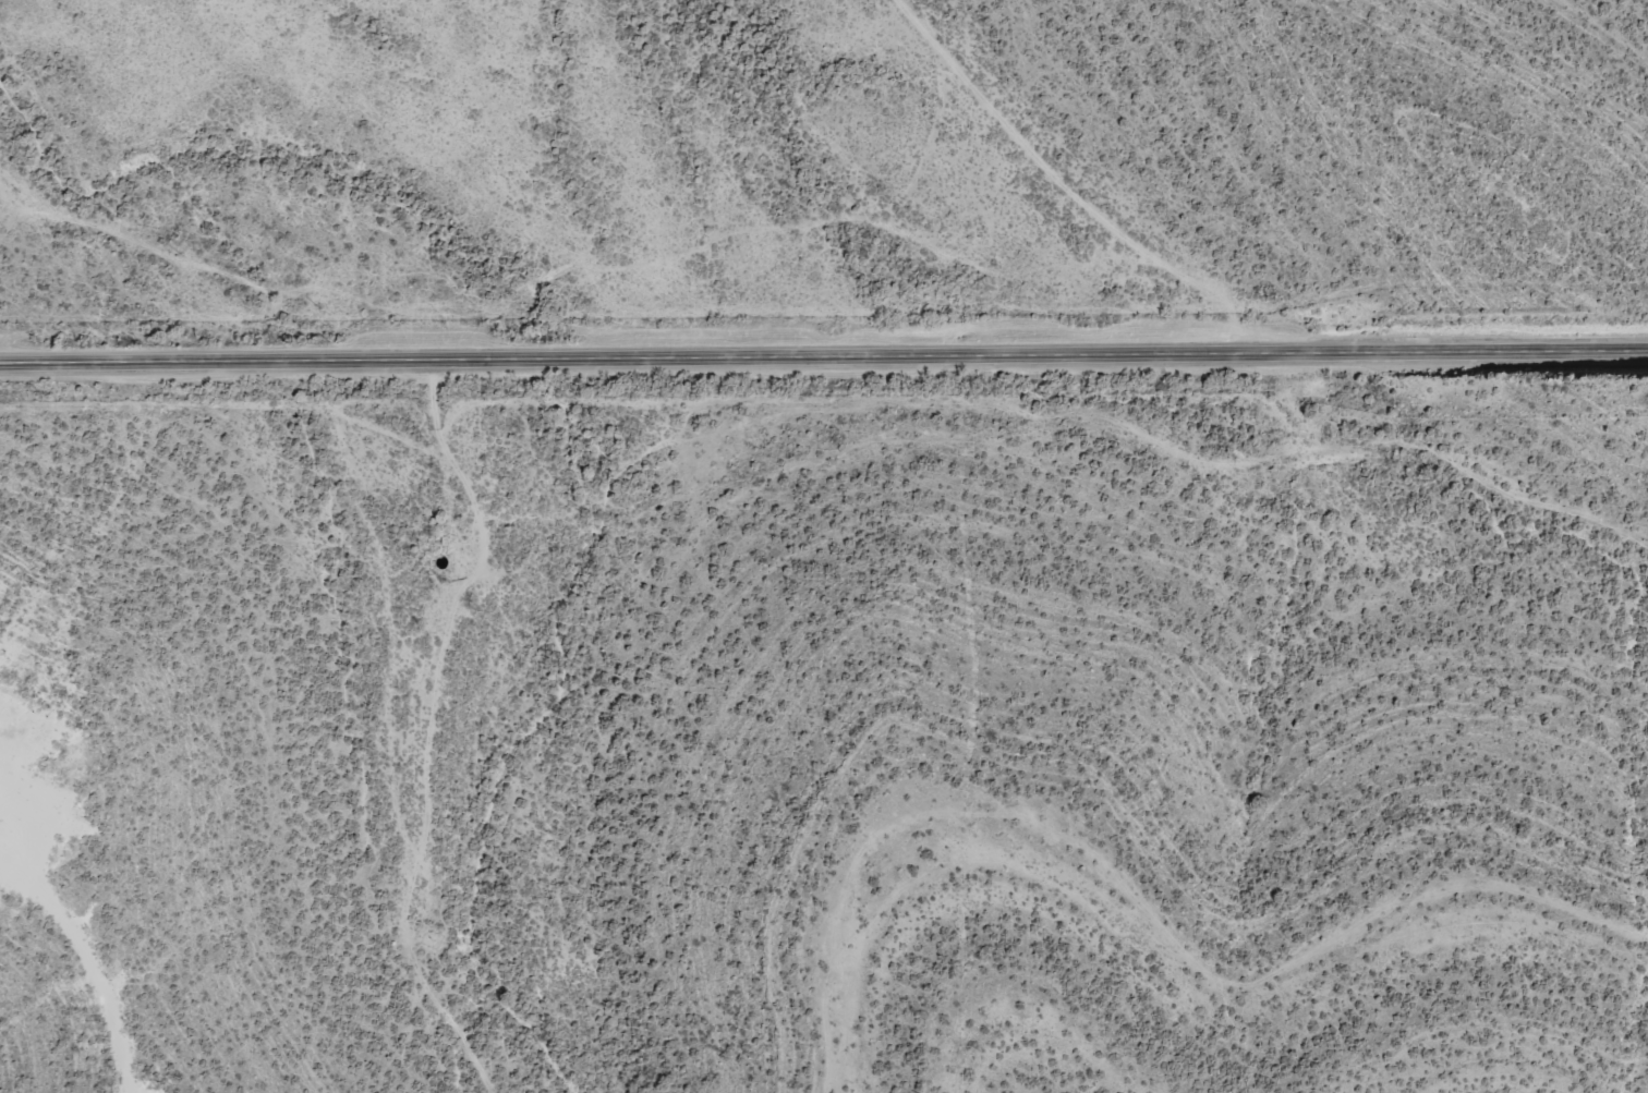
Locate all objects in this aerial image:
road: (823, 354)

